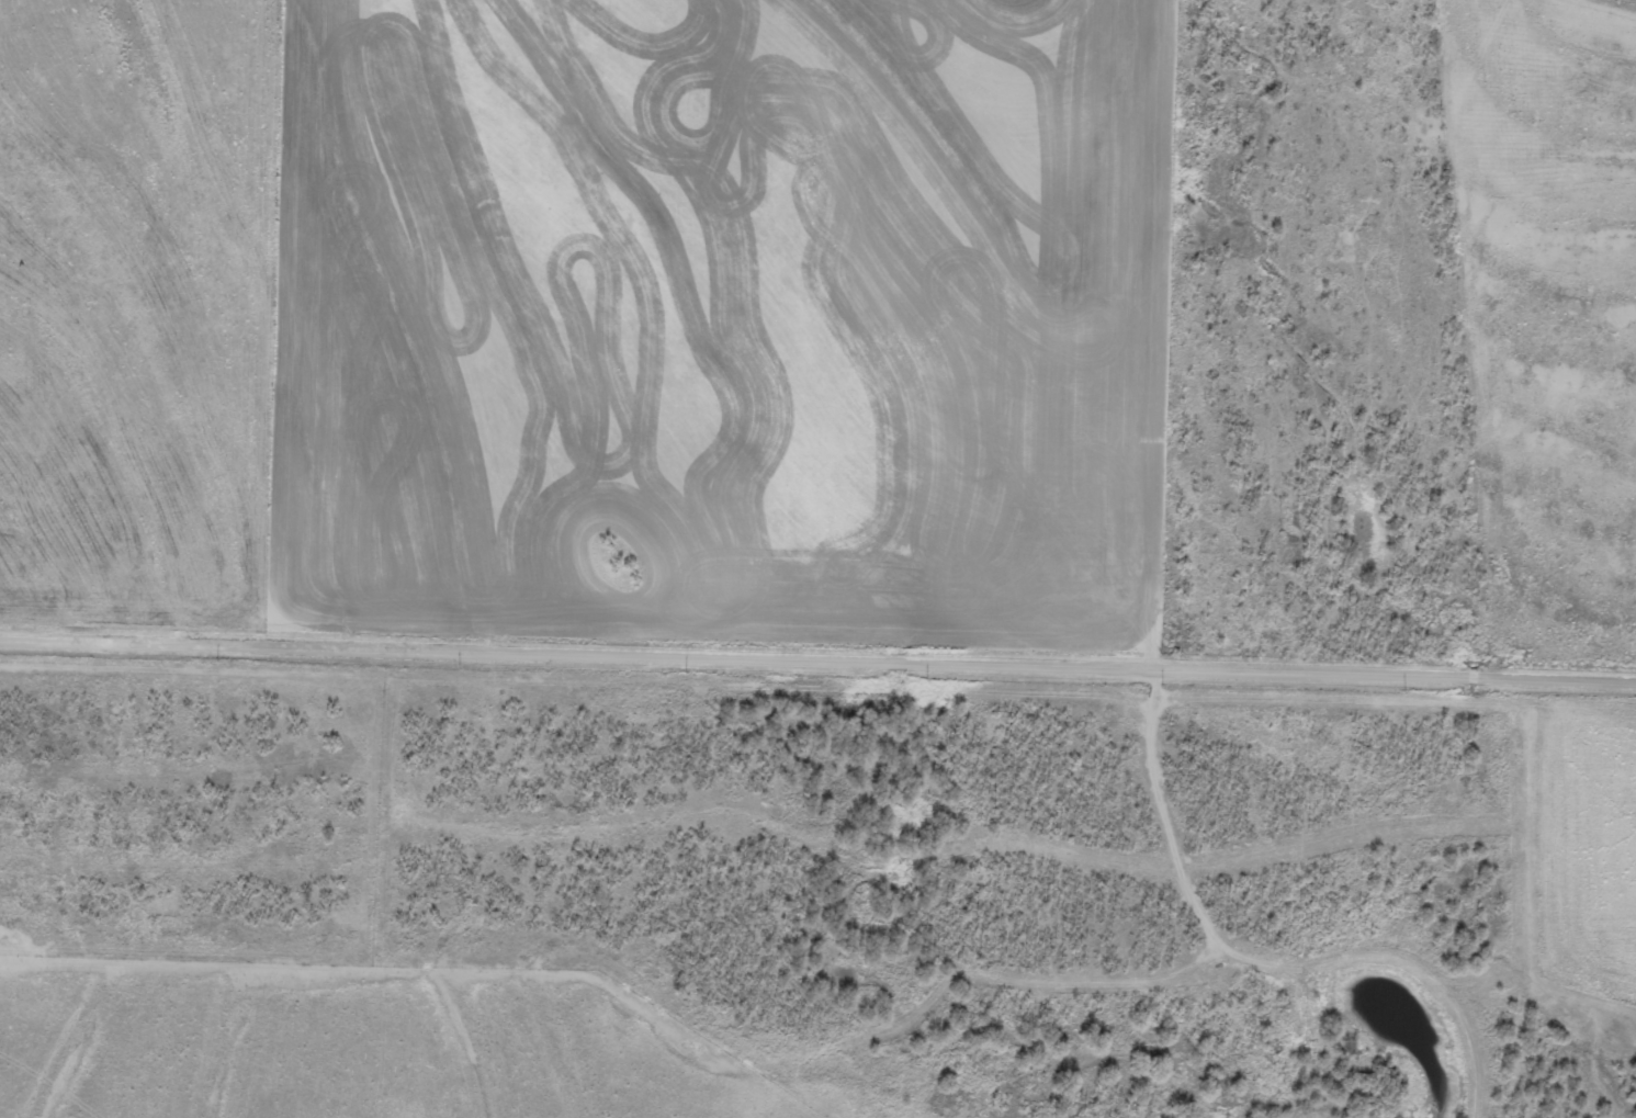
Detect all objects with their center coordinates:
road: (817, 655)

